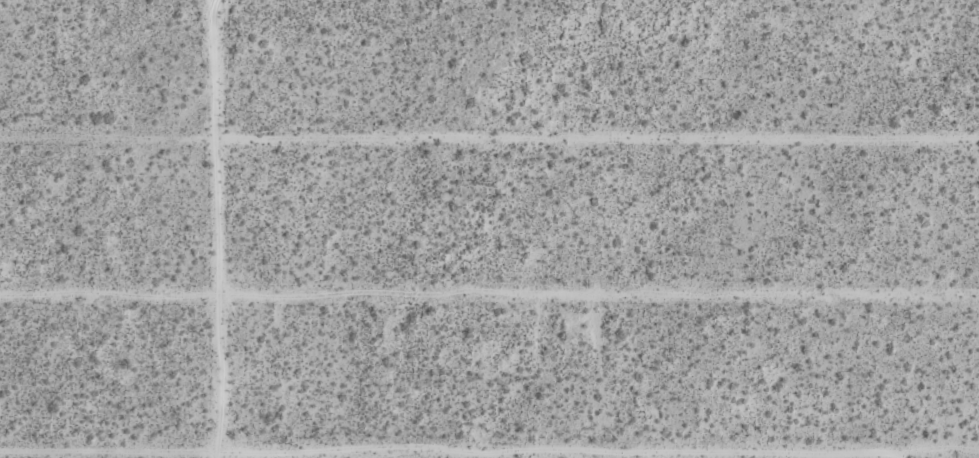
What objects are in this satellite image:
road: (489, 139)
road: (218, 229)
road: (489, 295)
road: (489, 456)
road: (66, 457)

